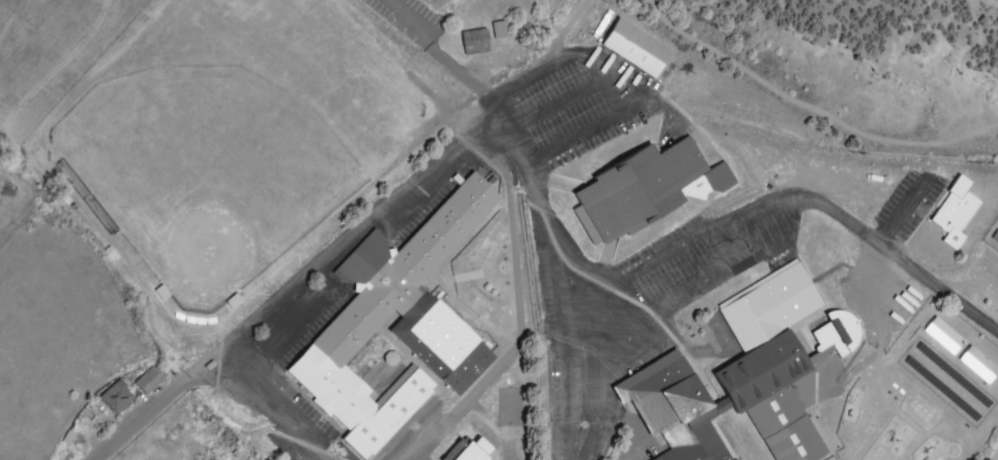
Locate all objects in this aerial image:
park: (563, 8)
road: (587, 27)
building: (499, 28)
building: (473, 40)
building: (635, 47)
road: (496, 102)
building: (641, 187)
building: (954, 211)
road: (538, 270)
building: (160, 291)
building: (395, 323)
building: (943, 334)
building: (778, 359)
building: (978, 363)
building: (147, 379)
building: (115, 395)
building: (674, 409)
building: (472, 449)

